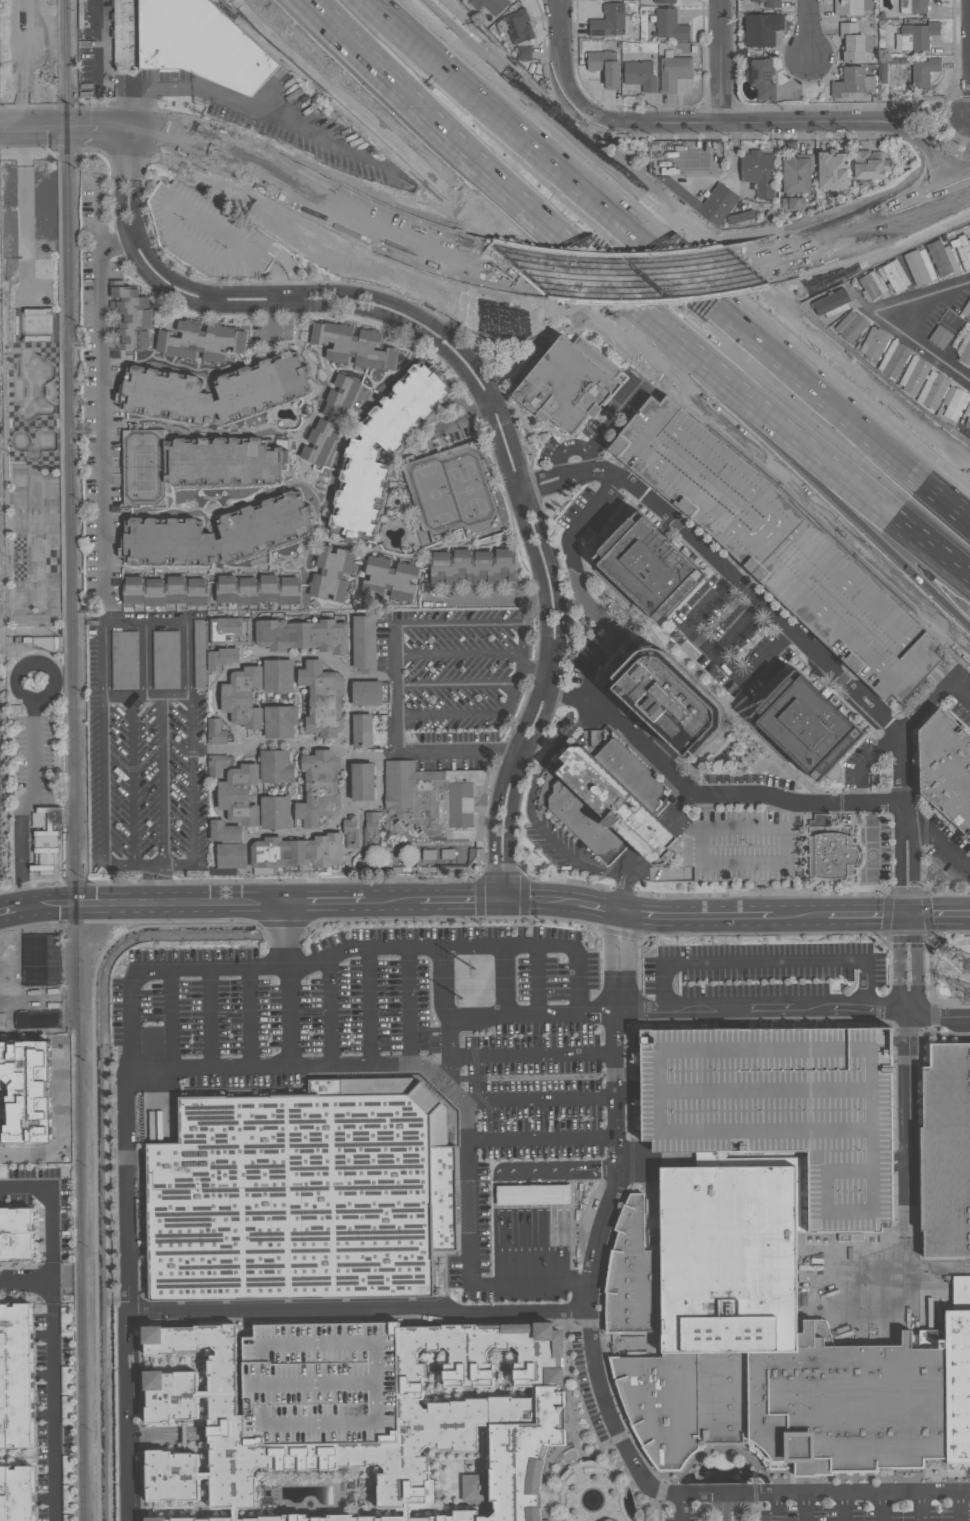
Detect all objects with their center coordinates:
building: (746, 1)
building: (662, 2)
building: (767, 3)
building: (494, 6)
building: (853, 7)
building: (912, 7)
building: (609, 23)
building: (668, 26)
building: (517, 27)
road: (803, 27)
building: (761, 31)
park: (0, 33)
building: (917, 36)
building: (188, 42)
building: (851, 44)
building: (523, 53)
road: (722, 61)
road: (558, 66)
road: (104, 67)
building: (605, 69)
building: (922, 72)
building: (675, 74)
building: (641, 77)
building: (761, 80)
building: (852, 84)
road: (240, 101)
road: (941, 118)
road: (854, 123)
road: (657, 124)
road: (101, 128)
road: (46, 129)
road: (6, 130)
road: (176, 139)
road: (534, 156)
road: (251, 164)
building: (869, 166)
building: (832, 172)
building: (760, 173)
building: (797, 173)
road: (959, 180)
road: (909, 202)
building: (721, 205)
building: (190, 224)
road: (552, 225)
road: (842, 229)
road: (100, 233)
road: (120, 244)
building: (961, 251)
building: (939, 259)
road: (537, 263)
building: (916, 269)
building: (892, 278)
building: (868, 288)
road: (216, 297)
road: (937, 298)
building: (830, 302)
road: (274, 316)
building: (968, 316)
building: (130, 320)
building: (853, 329)
building: (940, 338)
building: (204, 340)
road: (929, 343)
building: (876, 345)
building: (354, 348)
building: (965, 355)
road: (791, 360)
building: (895, 362)
building: (916, 378)
road: (469, 383)
building: (564, 386)
road: (491, 390)
building: (935, 392)
building: (217, 394)
building: (955, 405)
road: (466, 415)
road: (838, 418)
building: (967, 422)
building: (335, 424)
road: (102, 442)
road: (924, 447)
building: (386, 452)
building: (224, 464)
park: (33, 490)
road: (856, 506)
road: (886, 509)
building: (219, 537)
building: (776, 549)
building: (475, 570)
building: (647, 570)
building: (336, 575)
building: (394, 581)
building: (263, 592)
building: (167, 593)
road: (940, 599)
road: (486, 603)
road: (147, 621)
road: (460, 626)
road: (784, 628)
road: (738, 632)
building: (232, 633)
building: (304, 635)
building: (23, 640)
building: (55, 644)
building: (365, 645)
building: (202, 654)
road: (461, 655)
road: (712, 655)
road: (147, 659)
building: (225, 659)
building: (124, 662)
building: (166, 662)
road: (522, 670)
road: (540, 671)
building: (281, 677)
road: (459, 687)
road: (959, 692)
building: (373, 695)
road: (147, 697)
building: (246, 699)
building: (326, 701)
road: (399, 705)
road: (922, 708)
road: (468, 715)
building: (663, 715)
building: (283, 723)
building: (802, 732)
building: (218, 733)
building: (373, 734)
road: (461, 752)
parking lot: (35, 757)
railway: (74, 760)
building: (222, 766)
building: (279, 768)
building: (944, 773)
building: (637, 774)
road: (195, 779)
road: (136, 782)
road: (166, 782)
building: (365, 783)
building: (323, 790)
road: (705, 795)
building: (243, 796)
road: (106, 797)
road: (26, 798)
building: (435, 803)
road: (529, 810)
building: (605, 810)
building: (279, 814)
building: (227, 831)
building: (373, 832)
building: (353, 833)
building: (46, 838)
road: (785, 845)
road: (938, 845)
building: (827, 851)
road: (641, 852)
building: (323, 855)
building: (278, 856)
building: (235, 858)
parking lot: (0, 860)
road: (181, 866)
road: (152, 867)
road: (497, 881)
road: (158, 889)
road: (434, 891)
road: (325, 892)
road: (141, 895)
road: (562, 895)
road: (502, 899)
road: (939, 907)
road: (461, 908)
road: (538, 908)
road: (841, 909)
road: (698, 910)
road: (209, 913)
road: (908, 916)
road: (598, 917)
road: (867, 924)
road: (939, 924)
road: (621, 926)
road: (723, 927)
road: (460, 946)
building: (41, 960)
road: (762, 964)
power tower: (463, 969)
road: (161, 970)
road: (505, 979)
road: (539, 979)
road: (285, 980)
road: (617, 983)
road: (617, 997)
power tower: (456, 1000)
road: (409, 1006)
road: (369, 1007)
road: (709, 1009)
road: (333, 1011)
road: (252, 1019)
road: (172, 1020)
road: (211, 1020)
road: (448, 1020)
road: (534, 1056)
road: (909, 1067)
road: (207, 1071)
building: (26, 1092)
road: (457, 1099)
road: (541, 1101)
building: (781, 1110)
parking garage: (781, 1110)
road: (541, 1138)
building: (946, 1154)
road: (24, 1155)
road: (574, 1168)
building: (533, 1194)
road: (535, 1195)
building: (305, 1196)
road: (48, 1212)
building: (16, 1232)
road: (535, 1242)
road: (590, 1259)
railway: (57, 1278)
road: (527, 1279)
road: (129, 1296)
road: (357, 1311)
railway: (71, 1332)
building: (768, 1343)
road: (52, 1375)
building: (16, 1376)
building: (478, 1410)
building: (17, 1494)
road: (814, 1494)
road: (683, 1507)
road: (721, 1507)
road: (739, 1507)
road: (778, 1507)
road: (805, 1507)
road: (848, 1507)
road: (882, 1507)
road: (922, 1507)
road: (960, 1507)
building: (612, 1519)
building: (608, 1520)

